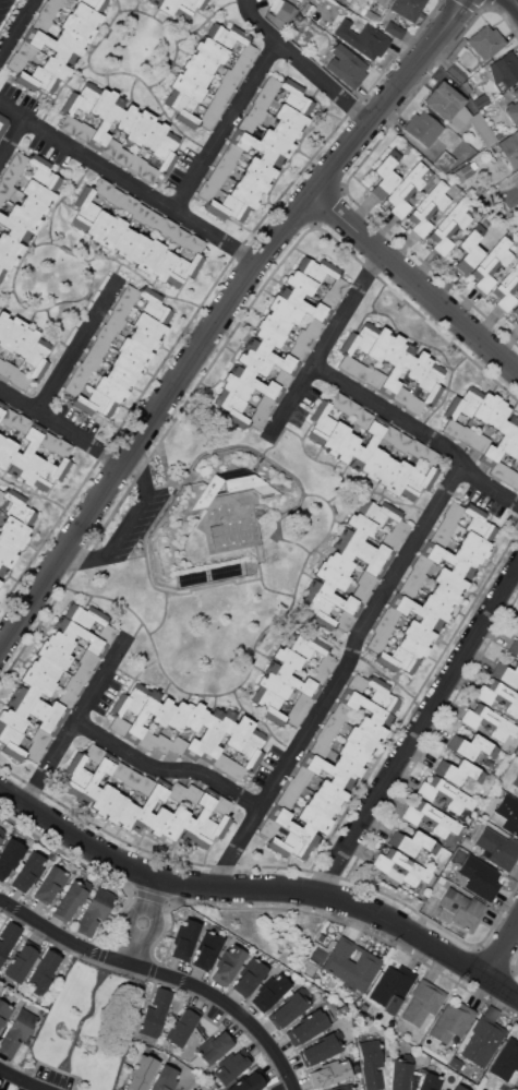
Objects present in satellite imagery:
building: (334, 0)
building: (382, 1)
building: (57, 2)
building: (154, 2)
road: (515, 2)
building: (91, 3)
building: (167, 5)
building: (189, 7)
building: (407, 9)
building: (48, 10)
building: (281, 12)
building: (85, 14)
building: (370, 14)
building: (43, 22)
building: (77, 28)
building: (391, 28)
road: (19, 31)
building: (227, 35)
building: (363, 38)
building: (70, 41)
building: (485, 41)
building: (51, 47)
building: (210, 49)
building: (26, 50)
building: (248, 52)
building: (203, 61)
building: (15, 62)
building: (457, 62)
road: (306, 65)
building: (240, 67)
building: (347, 67)
building: (55, 68)
building: (503, 71)
building: (195, 73)
building: (230, 77)
building: (38, 80)
building: (270, 85)
building: (186, 87)
building: (224, 91)
building: (296, 97)
building: (81, 98)
building: (263, 99)
building: (480, 101)
building: (103, 103)
building: (217, 105)
building: (448, 105)
building: (183, 108)
building: (513, 108)
building: (256, 113)
building: (291, 117)
building: (1, 119)
building: (128, 119)
building: (207, 119)
building: (109, 120)
building: (70, 124)
building: (246, 124)
building: (140, 127)
road: (228, 127)
building: (422, 128)
building: (482, 129)
building: (84, 131)
building: (285, 131)
building: (153, 135)
building: (498, 135)
road: (13, 141)
building: (276, 143)
building: (95, 145)
building: (111, 147)
building: (255, 147)
building: (509, 148)
building: (166, 151)
building: (231, 152)
building: (121, 156)
building: (463, 157)
building: (443, 160)
building: (19, 161)
building: (136, 164)
building: (225, 165)
building: (260, 169)
building: (43, 172)
building: (149, 172)
building: (463, 172)
building: (10, 175)
building: (385, 175)
building: (216, 177)
road: (129, 182)
building: (253, 182)
building: (101, 187)
building: (5, 189)
building: (408, 189)
building: (206, 190)
building: (38, 192)
building: (244, 195)
building: (115, 196)
building: (1, 200)
building: (129, 203)
building: (33, 206)
building: (227, 207)
building: (85, 208)
building: (427, 208)
building: (141, 213)
building: (24, 218)
building: (153, 220)
building: (98, 225)
building: (168, 227)
building: (449, 227)
building: (15, 230)
building: (111, 232)
building: (180, 237)
building: (124, 241)
building: (195, 243)
building: (11, 244)
building: (136, 249)
building: (470, 249)
building: (149, 256)
building: (7, 260)
building: (162, 264)
building: (492, 264)
building: (183, 268)
building: (317, 268)
building: (2, 273)
road: (415, 282)
building: (300, 283)
building: (338, 286)
building: (507, 289)
building: (130, 295)
building: (328, 299)
building: (304, 303)
building: (154, 306)
building: (121, 308)
building: (285, 309)
building: (516, 310)
road: (221, 316)
building: (277, 321)
building: (3, 322)
building: (115, 322)
building: (517, 322)
building: (148, 325)
building: (314, 326)
building: (12, 333)
building: (105, 333)
building: (269, 333)
building: (143, 338)
building: (304, 338)
building: (360, 338)
building: (24, 342)
road: (330, 344)
building: (380, 344)
road: (80, 346)
building: (98, 347)
building: (394, 349)
building: (134, 351)
building: (298, 351)
building: (273, 356)
building: (37, 357)
building: (92, 360)
building: (1, 361)
building: (254, 361)
building: (349, 364)
building: (127, 366)
building: (418, 367)
building: (8, 369)
building: (397, 370)
building: (82, 372)
building: (362, 372)
building: (119, 378)
building: (282, 378)
building: (376, 378)
building: (20, 380)
building: (256, 382)
building: (431, 383)
building: (73, 385)
building: (236, 386)
building: (110, 388)
building: (401, 395)
building: (337, 400)
building: (465, 402)
building: (95, 403)
building: (265, 404)
building: (414, 405)
building: (232, 407)
building: (484, 407)
building: (2, 408)
building: (351, 409)
building: (497, 415)
building: (8, 417)
building: (257, 419)
building: (363, 419)
building: (321, 422)
building: (22, 423)
road: (61, 428)
building: (453, 429)
road: (422, 431)
building: (389, 433)
building: (467, 435)
building: (335, 436)
building: (1, 439)
building: (368, 442)
building: (480, 442)
building: (498, 442)
building: (401, 443)
building: (511, 444)
building: (9, 445)
building: (347, 446)
building: (25, 448)
building: (415, 448)
building: (429, 456)
building: (517, 458)
building: (373, 460)
building: (29, 469)
building: (385, 469)
building: (499, 470)
building: (50, 472)
building: (398, 476)
building: (511, 479)
building: (419, 481)
building: (1, 493)
building: (19, 507)
building: (453, 511)
building: (378, 512)
building: (479, 523)
building: (361, 524)
building: (446, 525)
building: (14, 528)
building: (399, 528)
road: (128, 531)
building: (438, 538)
building: (389, 540)
building: (9, 541)
building: (366, 544)
building: (475, 544)
building: (5, 556)
building: (468, 556)
building: (337, 559)
building: (446, 560)
building: (421, 564)
building: (2, 572)
building: (332, 576)
building: (415, 577)
building: (366, 579)
building: (449, 580)
building: (407, 590)
building: (361, 594)
building: (445, 595)
building: (336, 598)
building: (435, 607)
building: (318, 610)
building: (414, 612)
building: (85, 615)
building: (389, 615)
building: (344, 621)
building: (517, 623)
building: (383, 628)
building: (107, 633)
building: (418, 633)
building: (80, 635)
building: (60, 642)
building: (376, 643)
building: (304, 645)
building: (412, 646)
building: (514, 648)
building: (52, 655)
building: (288, 658)
building: (88, 659)
building: (398, 660)
building: (326, 662)
building: (45, 668)
building: (82, 672)
building: (506, 673)
building: (316, 674)
building: (293, 679)
road: (340, 679)
building: (37, 681)
building: (357, 683)
building: (73, 685)
building: (275, 685)
building: (382, 695)
building: (499, 698)
building: (65, 699)
building: (131, 699)
building: (303, 702)
building: (269, 705)
building: (365, 706)
building: (37, 708)
building: (342, 711)
building: (164, 712)
building: (144, 716)
building: (179, 716)
building: (294, 716)
building: (194, 717)
building: (12, 719)
building: (333, 722)
building: (489, 723)
building: (117, 724)
road: (76, 726)
building: (370, 728)
building: (239, 732)
road: (420, 732)
building: (203, 734)
building: (325, 735)
building: (40, 736)
building: (217, 736)
building: (146, 740)
building: (361, 740)
building: (11, 741)
building: (161, 743)
building: (178, 745)
building: (471, 746)
building: (252, 748)
building: (320, 750)
building: (34, 752)
building: (94, 753)
building: (352, 753)
building: (221, 762)
building: (347, 766)
building: (120, 770)
road: (170, 770)
building: (234, 770)
building: (327, 771)
building: (459, 771)
building: (76, 775)
building: (302, 775)
building: (96, 778)
building: (132, 779)
building: (145, 784)
building: (514, 786)
building: (293, 788)
building: (176, 791)
building: (330, 792)
building: (192, 793)
building: (446, 794)
building: (104, 799)
building: (285, 801)
building: (321, 804)
building: (149, 805)
building: (221, 805)
building: (116, 807)
building: (198, 814)
building: (506, 814)
building: (127, 815)
building: (314, 818)
building: (431, 818)
building: (158, 821)
building: (173, 823)
building: (293, 826)
building: (268, 828)
building: (210, 830)
building: (1, 833)
building: (413, 843)
building: (290, 846)
building: (469, 847)
building: (498, 848)
building: (10, 855)
building: (401, 869)
building: (29, 870)
building: (480, 876)
building: (441, 879)
building: (49, 884)
road: (260, 888)
road: (156, 893)
building: (71, 899)
road: (144, 908)
building: (97, 909)
building: (460, 910)
building: (8, 938)
building: (184, 938)
building: (206, 949)
road: (138, 953)
road: (503, 953)
building: (228, 963)
building: (21, 965)
building: (351, 965)
building: (44, 969)
road: (165, 974)
building: (249, 978)
building: (391, 986)
building: (270, 992)
building: (422, 1003)
building: (290, 1007)
building: (3, 1013)
building: (155, 1013)
building: (451, 1022)
building: (182, 1026)
building: (309, 1026)
building: (16, 1032)
building: (483, 1037)
building: (321, 1049)
building: (212, 1050)
building: (506, 1062)
building: (371, 1064)
building: (231, 1065)
building: (400, 1071)
building: (141, 1073)
building: (329, 1073)
building: (165, 1078)
road: (23, 1079)
building: (250, 1081)
building: (430, 1081)
building: (344, 1087)
building: (457, 1087)
building: (0, 1089)
building: (13, 1089)
building: (17, 1089)
building: (191, 1089)
building: (192, 1089)

